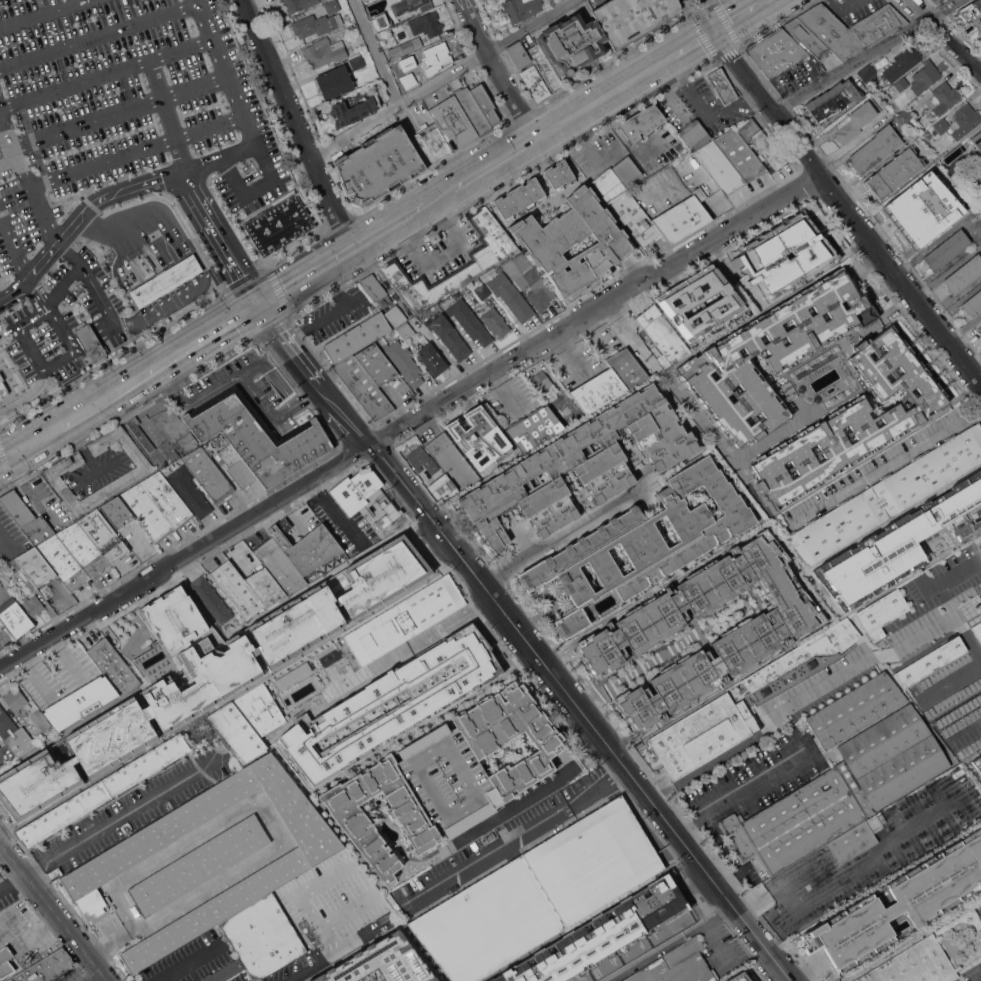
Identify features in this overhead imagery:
road: (195, 2)
building: (297, 4)
building: (374, 5)
building: (411, 5)
building: (331, 6)
building: (522, 8)
building: (970, 10)
road: (707, 13)
road: (43, 14)
road: (738, 14)
building: (631, 17)
building: (384, 21)
building: (978, 23)
building: (426, 24)
building: (313, 25)
traffic signals: (714, 28)
building: (851, 28)
road: (208, 33)
building: (807, 36)
road: (944, 36)
building: (571, 43)
building: (405, 47)
road: (680, 49)
building: (324, 51)
road: (377, 51)
building: (776, 51)
building: (436, 52)
building: (518, 53)
road: (866, 55)
building: (414, 58)
building: (357, 61)
building: (902, 63)
building: (544, 66)
road: (500, 69)
road: (105, 73)
building: (420, 73)
building: (868, 74)
building: (925, 76)
road: (441, 78)
building: (335, 81)
building: (535, 83)
building: (901, 83)
building: (720, 85)
road: (686, 87)
building: (944, 97)
building: (833, 100)
building: (484, 102)
road: (733, 103)
road: (593, 104)
building: (353, 110)
building: (473, 110)
road: (119, 112)
road: (169, 114)
building: (904, 116)
parking lot: (121, 118)
building: (649, 118)
building: (965, 118)
building: (453, 122)
building: (853, 122)
building: (941, 125)
road: (297, 127)
building: (633, 129)
building: (918, 130)
building: (927, 134)
road: (7, 140)
building: (760, 143)
building: (977, 143)
building: (430, 145)
building: (875, 149)
road: (136, 151)
building: (956, 151)
building: (739, 154)
building: (711, 156)
road: (505, 159)
road: (9, 164)
building: (379, 166)
building: (893, 172)
building: (975, 174)
building: (557, 175)
road: (153, 180)
building: (980, 187)
road: (446, 196)
building: (626, 199)
road: (37, 202)
road: (845, 204)
building: (923, 209)
building: (681, 218)
building: (280, 222)
road: (972, 230)
road: (386, 233)
road: (222, 240)
building: (549, 242)
road: (13, 245)
road: (146, 249)
building: (947, 249)
road: (439, 250)
building: (815, 252)
building: (481, 263)
road: (33, 270)
building: (964, 274)
building: (528, 280)
road: (861, 280)
building: (166, 281)
gas station: (166, 281)
road: (306, 281)
road: (63, 285)
building: (375, 290)
building: (482, 291)
road: (968, 294)
building: (511, 295)
road: (102, 301)
building: (678, 302)
building: (973, 304)
traffic signals: (261, 309)
road: (946, 313)
road: (336, 314)
building: (395, 315)
road: (33, 319)
building: (469, 320)
building: (496, 321)
building: (979, 326)
road: (966, 327)
road: (8, 329)
road: (61, 329)
building: (406, 331)
building: (663, 334)
building: (449, 335)
building: (357, 337)
road: (160, 338)
road: (211, 338)
building: (868, 338)
building: (91, 342)
parking lot: (38, 345)
road: (30, 349)
road: (566, 353)
building: (772, 354)
building: (5, 357)
building: (432, 358)
building: (404, 362)
building: (376, 364)
building: (627, 367)
road: (158, 369)
road: (240, 372)
road: (311, 378)
building: (18, 380)
building: (543, 385)
building: (363, 387)
building: (2, 389)
building: (598, 390)
building: (861, 392)
road: (27, 395)
building: (573, 411)
building: (9, 414)
road: (81, 414)
road: (701, 416)
road: (409, 417)
building: (564, 419)
building: (852, 421)
building: (535, 428)
building: (140, 434)
building: (258, 436)
building: (480, 437)
building: (185, 443)
road: (85, 455)
building: (452, 457)
road: (3, 460)
building: (422, 460)
road: (105, 464)
building: (236, 465)
building: (583, 465)
road: (888, 466)
building: (140, 470)
building: (208, 474)
building: (190, 491)
building: (364, 493)
building: (889, 496)
building: (167, 499)
building: (17, 507)
building: (117, 511)
building: (147, 513)
building: (38, 529)
road: (569, 533)
building: (102, 536)
building: (643, 543)
building: (903, 543)
road: (973, 543)
road: (6, 544)
building: (980, 546)
building: (82, 548)
building: (296, 554)
building: (978, 556)
building: (62, 562)
building: (12, 566)
building: (35, 566)
building: (265, 586)
building: (237, 589)
building: (211, 598)
building: (33, 605)
road: (954, 606)
building: (194, 611)
building: (14, 617)
building: (405, 619)
building: (328, 623)
building: (1, 624)
building: (766, 630)
building: (977, 631)
building: (863, 650)
road: (218, 661)
building: (113, 665)
road: (635, 669)
building: (380, 684)
building: (16, 699)
building: (80, 702)
building: (260, 709)
building: (856, 709)
road: (578, 711)
building: (41, 719)
road: (964, 724)
building: (237, 732)
building: (703, 734)
building: (14, 735)
road: (749, 741)
building: (0, 746)
building: (978, 762)
building: (110, 765)
building: (446, 777)
road: (738, 791)
building: (840, 792)
road: (531, 795)
road: (260, 806)
road: (119, 817)
building: (488, 837)
road: (520, 839)
building: (855, 839)
building: (199, 865)
building: (104, 867)
road: (14, 880)
road: (839, 881)
road: (2, 883)
road: (2, 887)
building: (538, 893)
building: (980, 899)
building: (895, 903)
road: (53, 911)
building: (600, 934)
building: (262, 938)
road: (110, 940)
road: (28, 941)
road: (668, 943)
road: (332, 953)
building: (5, 955)
building: (617, 959)
building: (382, 962)
building: (914, 964)
building: (677, 965)
building: (47, 968)
building: (225, 971)
road: (804, 971)
road: (174, 973)
road: (191, 973)
road: (87, 974)
building: (739, 977)

